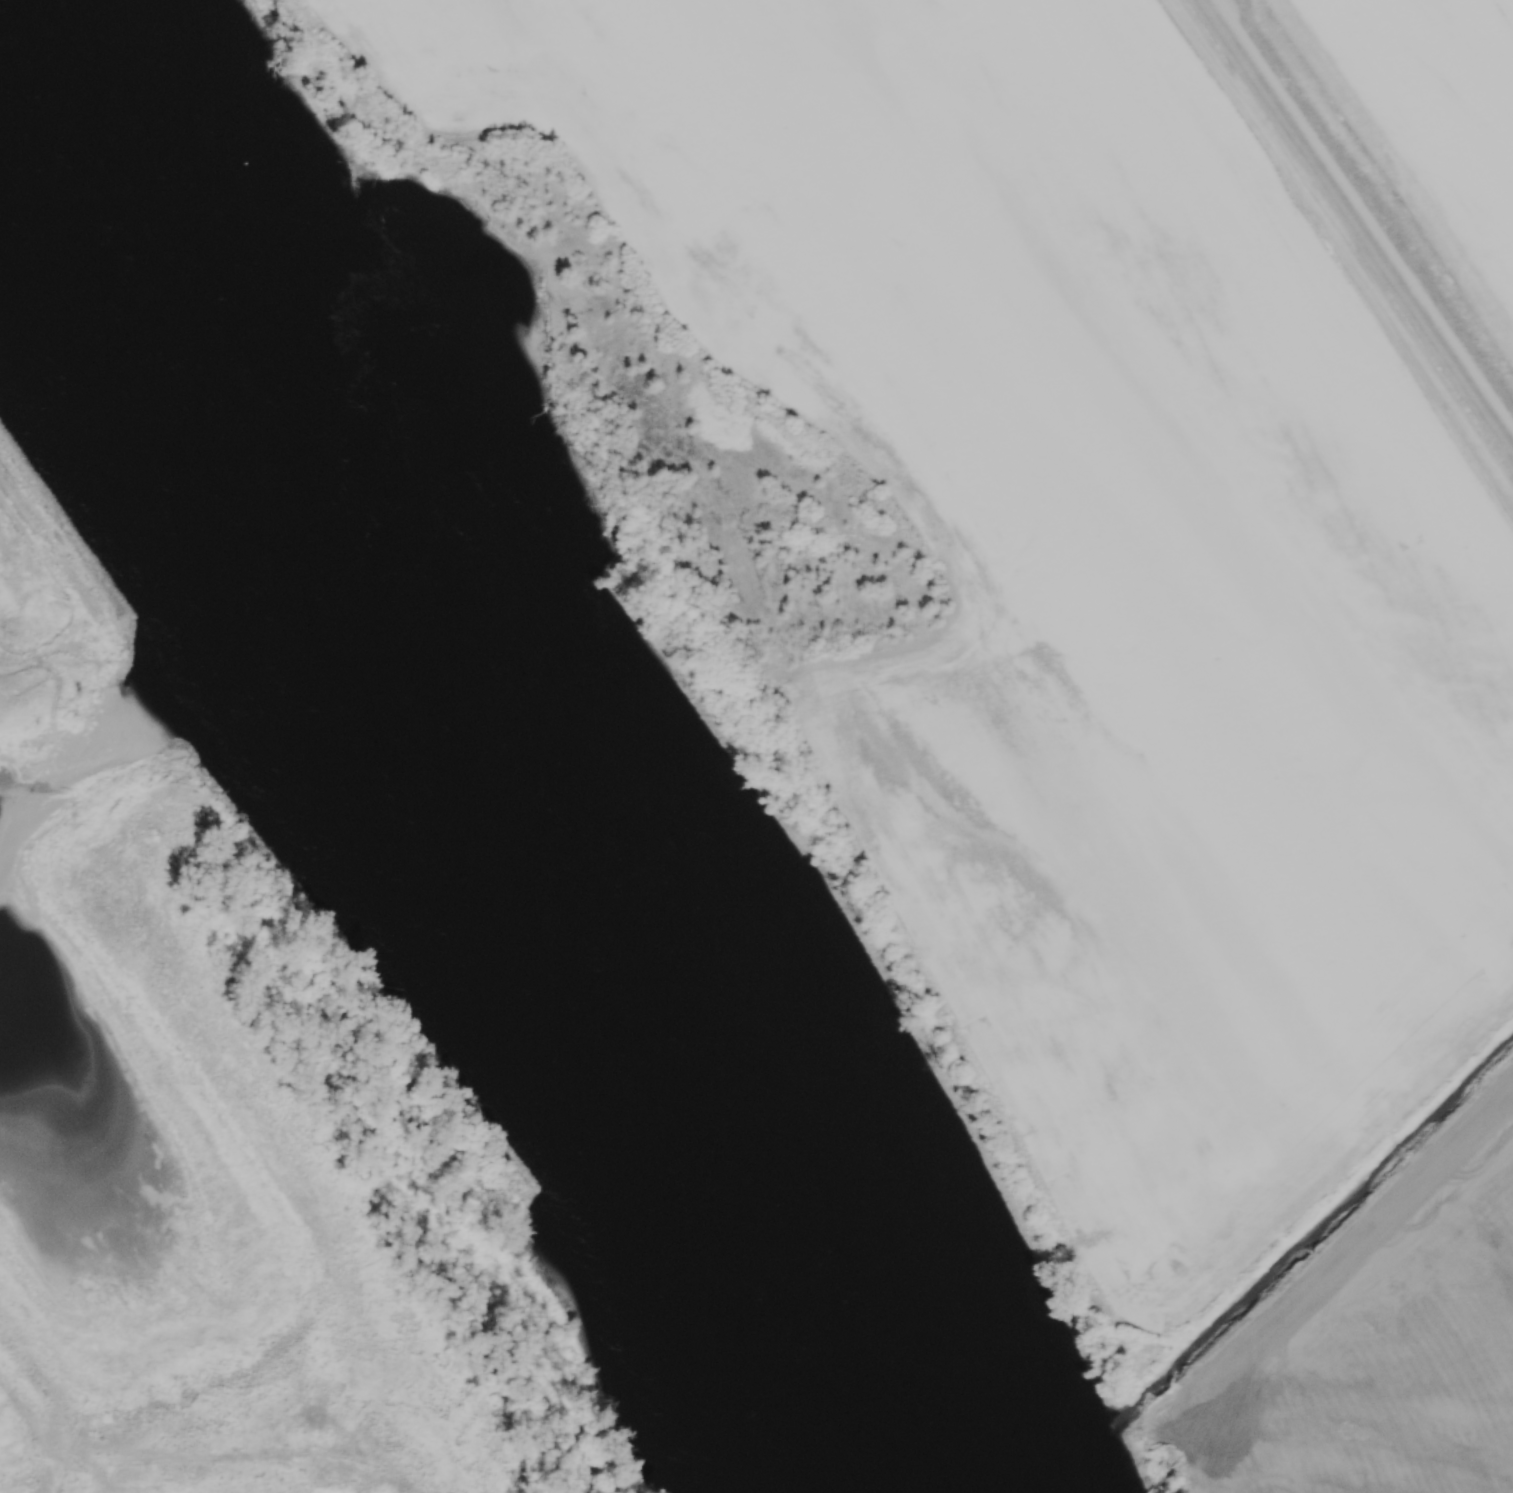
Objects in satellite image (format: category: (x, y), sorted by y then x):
road: (1366, 211)
crop: (1092, 562)
road: (62, 591)
river: (453, 764)
park: (230, 1135)
road: (1312, 1262)
road: (206, 1466)

